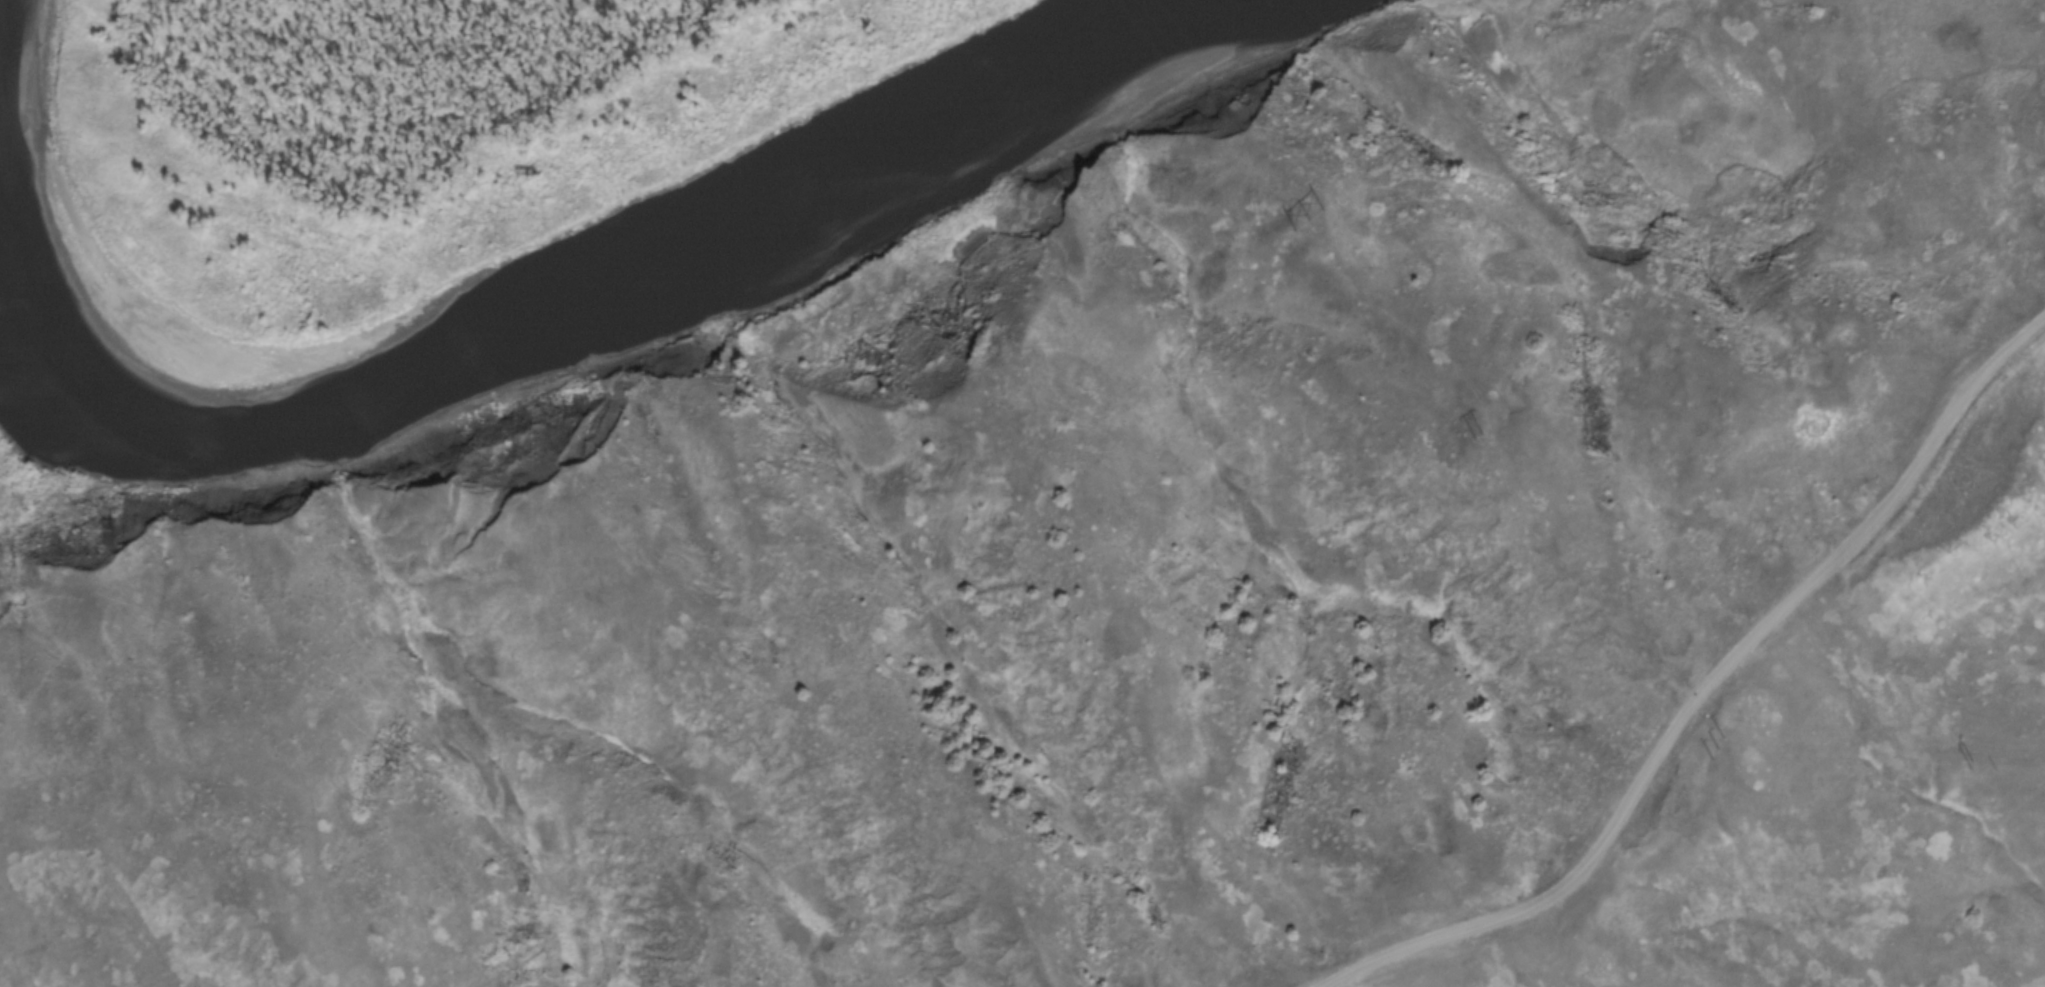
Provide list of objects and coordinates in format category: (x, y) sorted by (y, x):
power tower: (1317, 223)
river: (581, 302)
power tower: (1481, 440)
road: (1712, 687)
power tower: (1714, 750)
power tower: (1938, 766)

